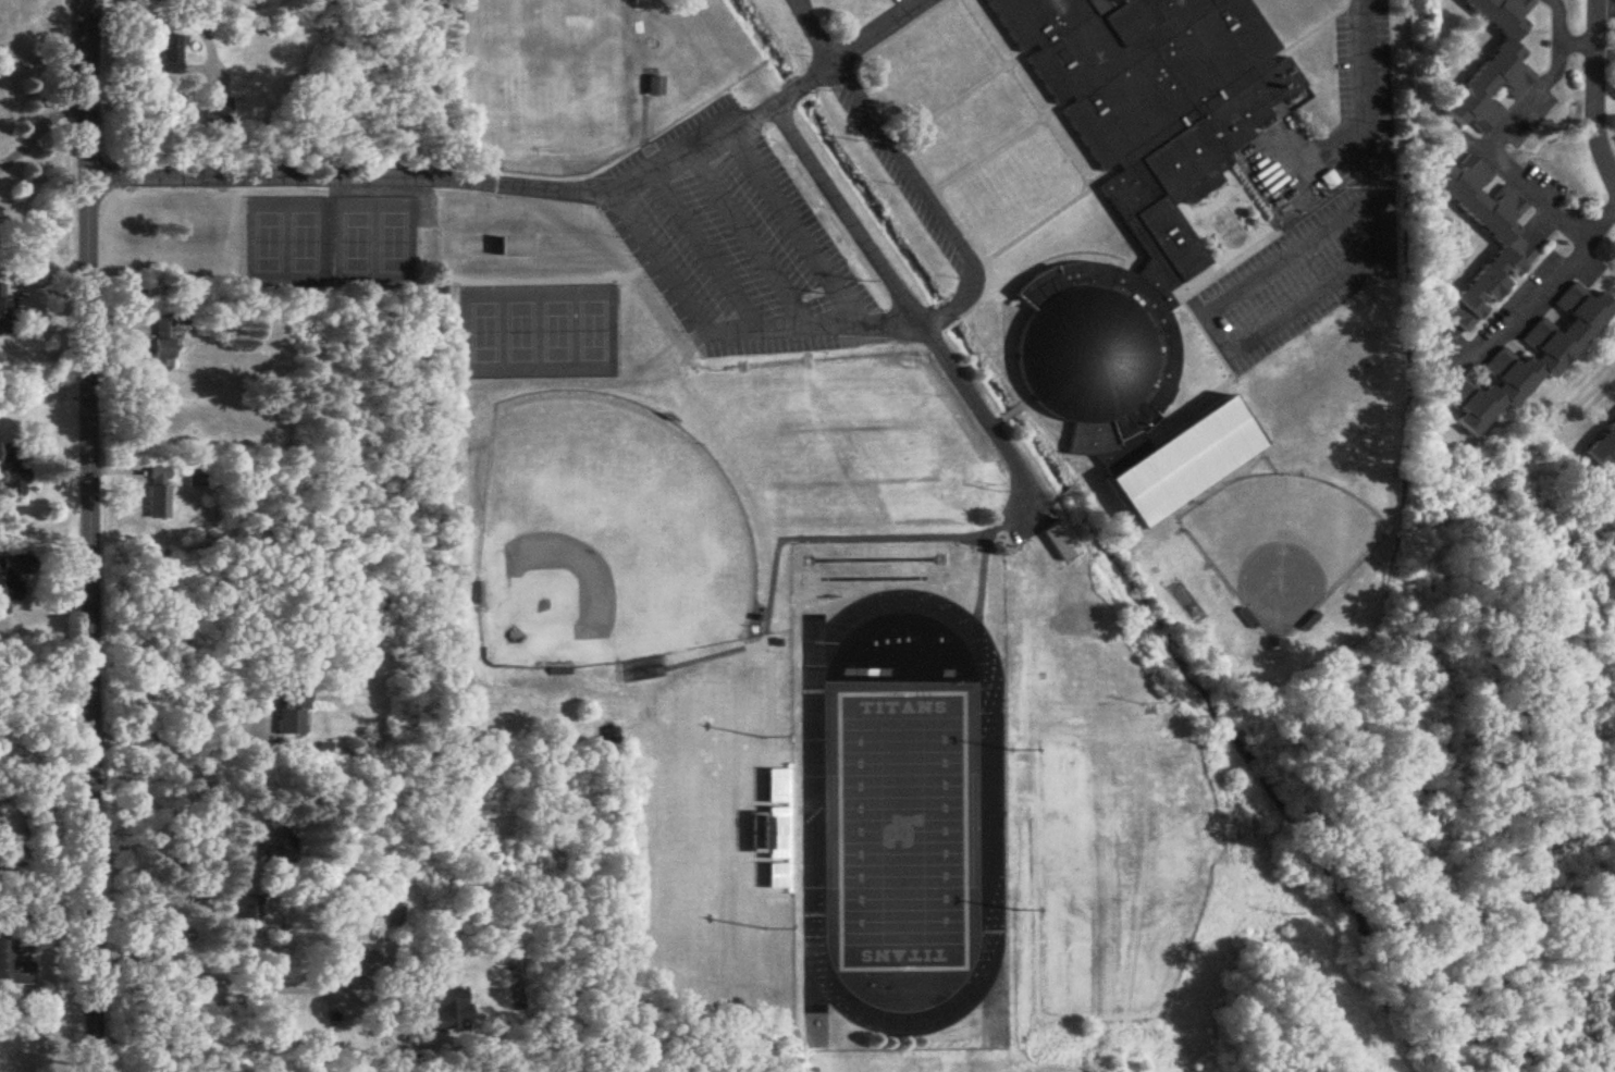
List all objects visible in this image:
building: (637, 7)
road: (1557, 21)
road: (870, 26)
building: (168, 54)
building: (1493, 66)
building: (653, 87)
road: (1365, 93)
road: (1594, 94)
road: (38, 128)
road: (1495, 150)
building: (1136, 185)
road: (518, 189)
road: (934, 196)
road: (796, 231)
building: (1504, 236)
park: (392, 242)
parking lot: (733, 242)
park: (269, 243)
park: (305, 243)
park: (356, 243)
road: (750, 243)
building: (517, 247)
road: (703, 252)
road: (908, 305)
road: (1521, 305)
building: (3, 310)
park: (556, 332)
park: (593, 332)
park: (485, 333)
park: (521, 333)
road: (727, 335)
road: (1229, 344)
building: (161, 345)
building: (1531, 360)
building: (1604, 452)
building: (1184, 464)
building: (198, 478)
building: (10, 484)
building: (158, 493)
road: (88, 535)
building: (1061, 542)
building: (15, 580)
building: (289, 715)
building: (612, 737)
track: (815, 813)
park: (903, 831)
building: (274, 845)
road: (45, 871)
building: (249, 909)
building: (397, 915)
building: (14, 966)
road: (248, 988)
building: (446, 1011)

